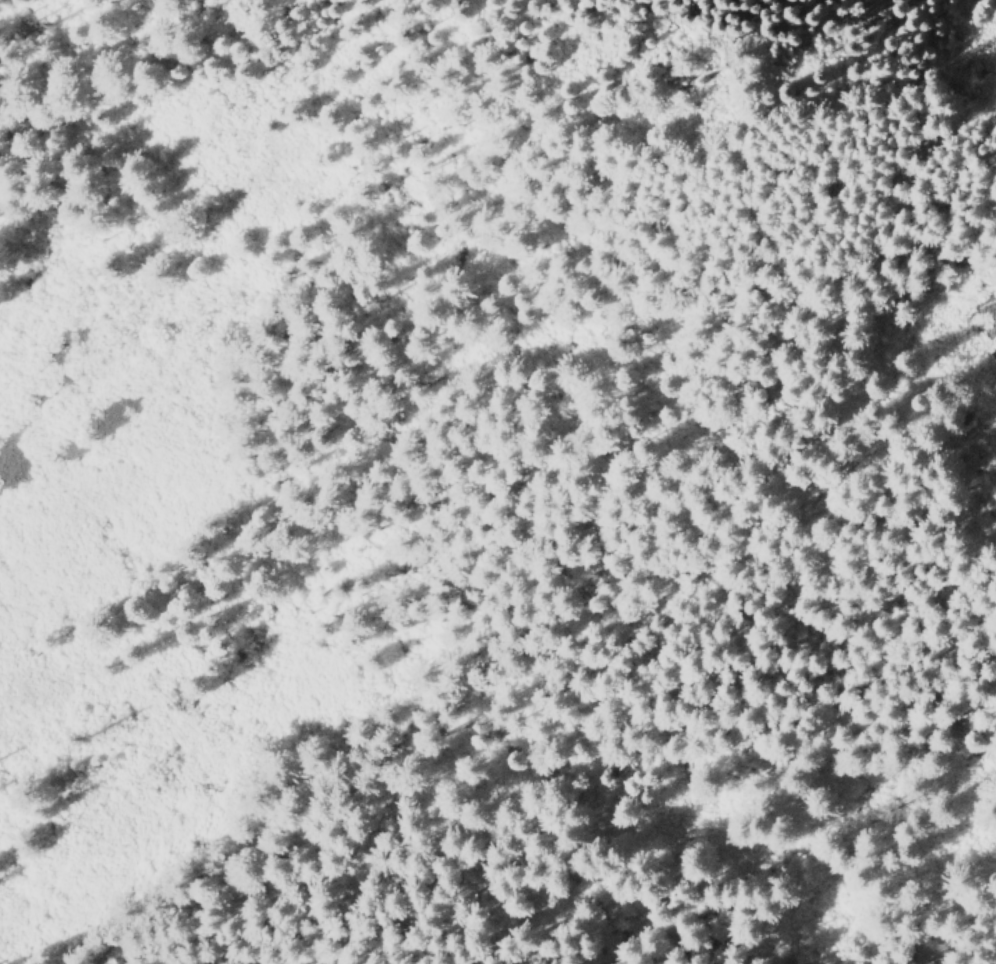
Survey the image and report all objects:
road: (764, 139)

